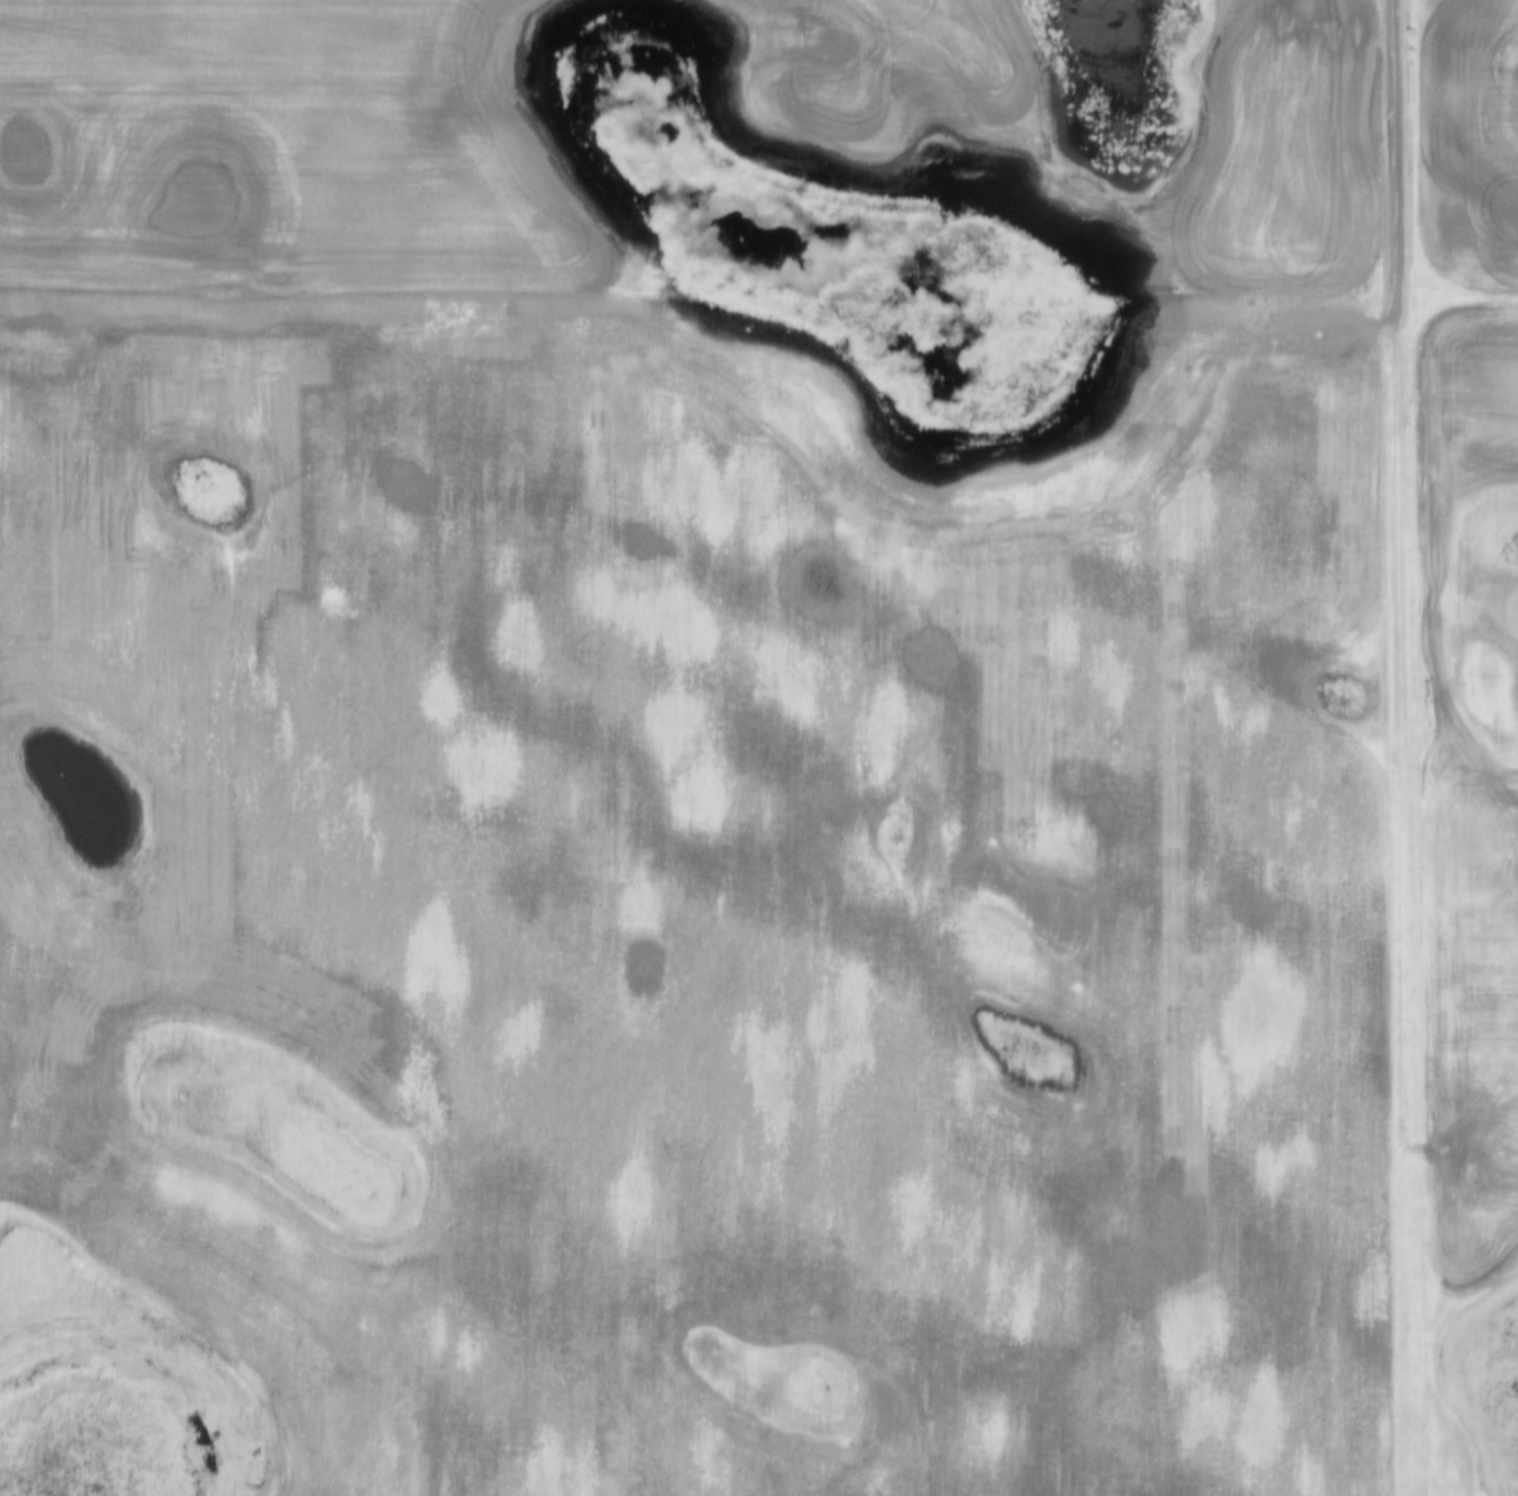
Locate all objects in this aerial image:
road: (1404, 747)

